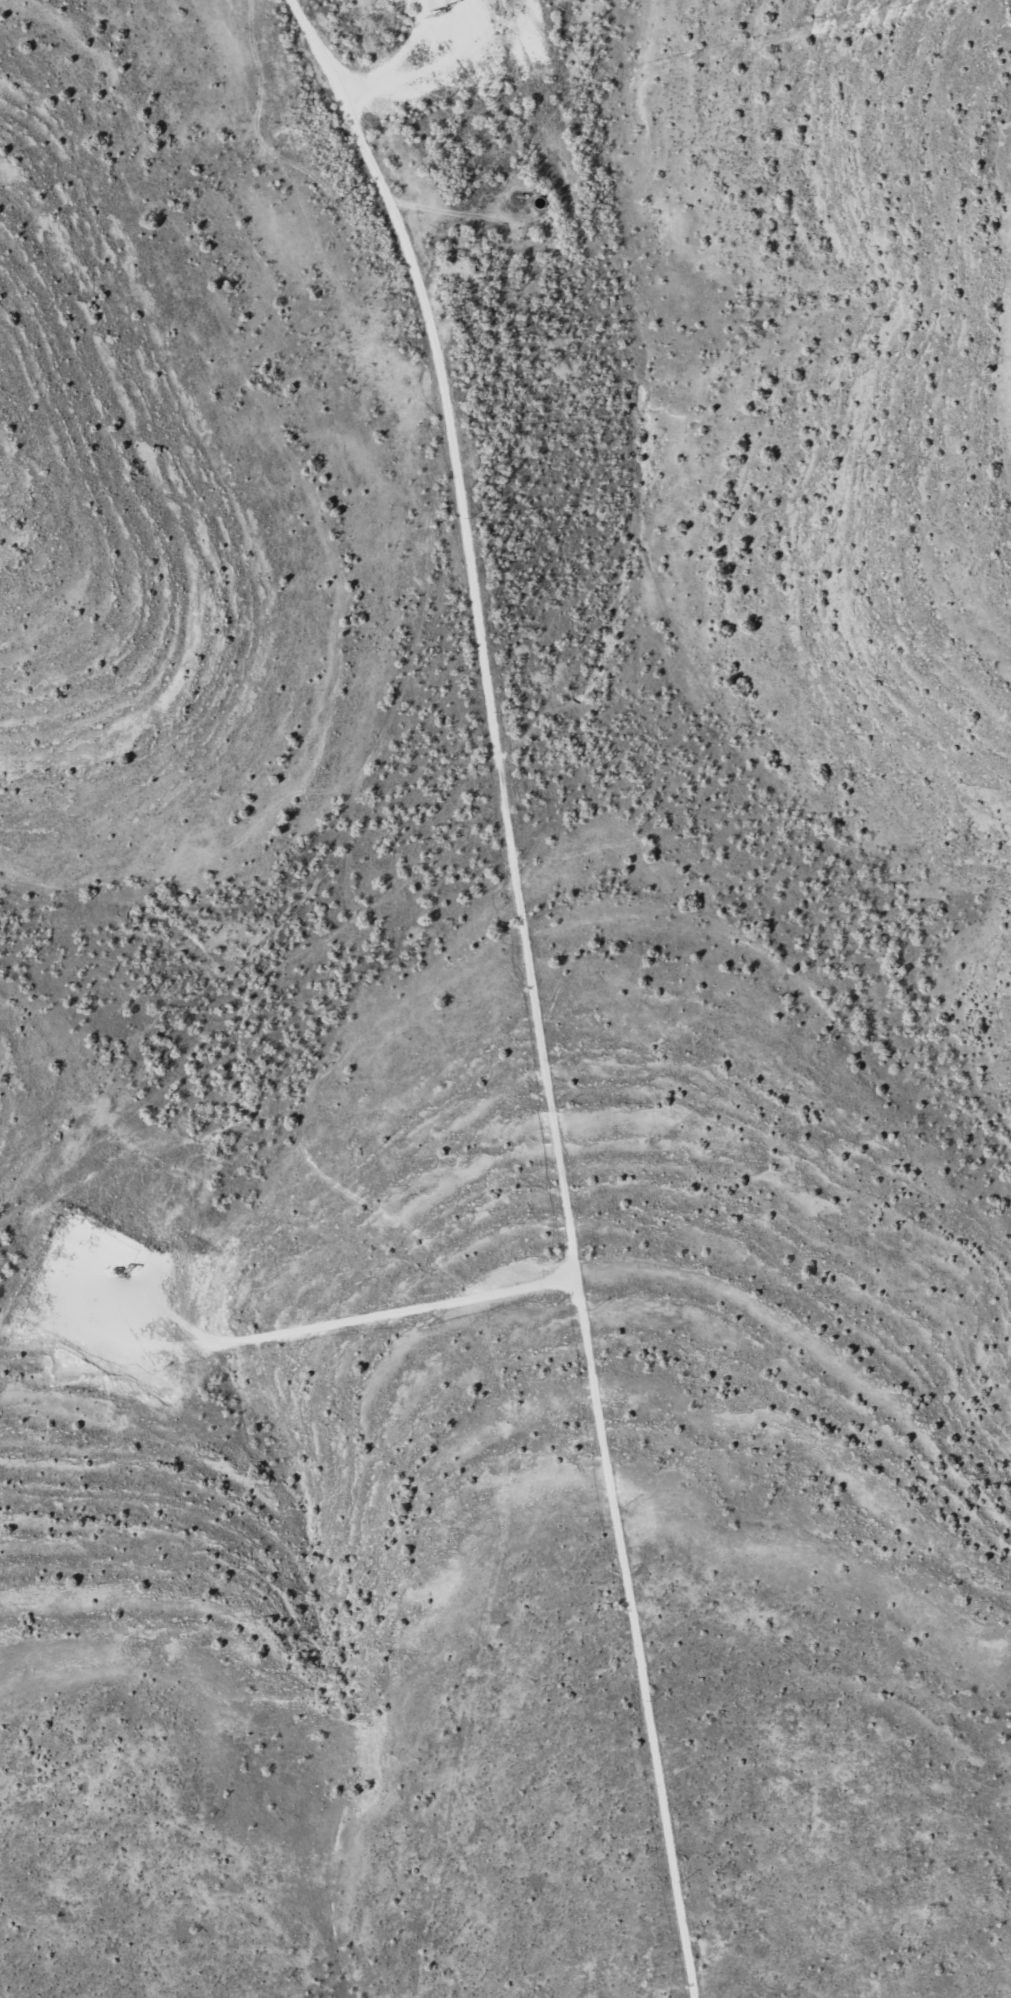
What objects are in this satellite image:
road: (369, 104)

